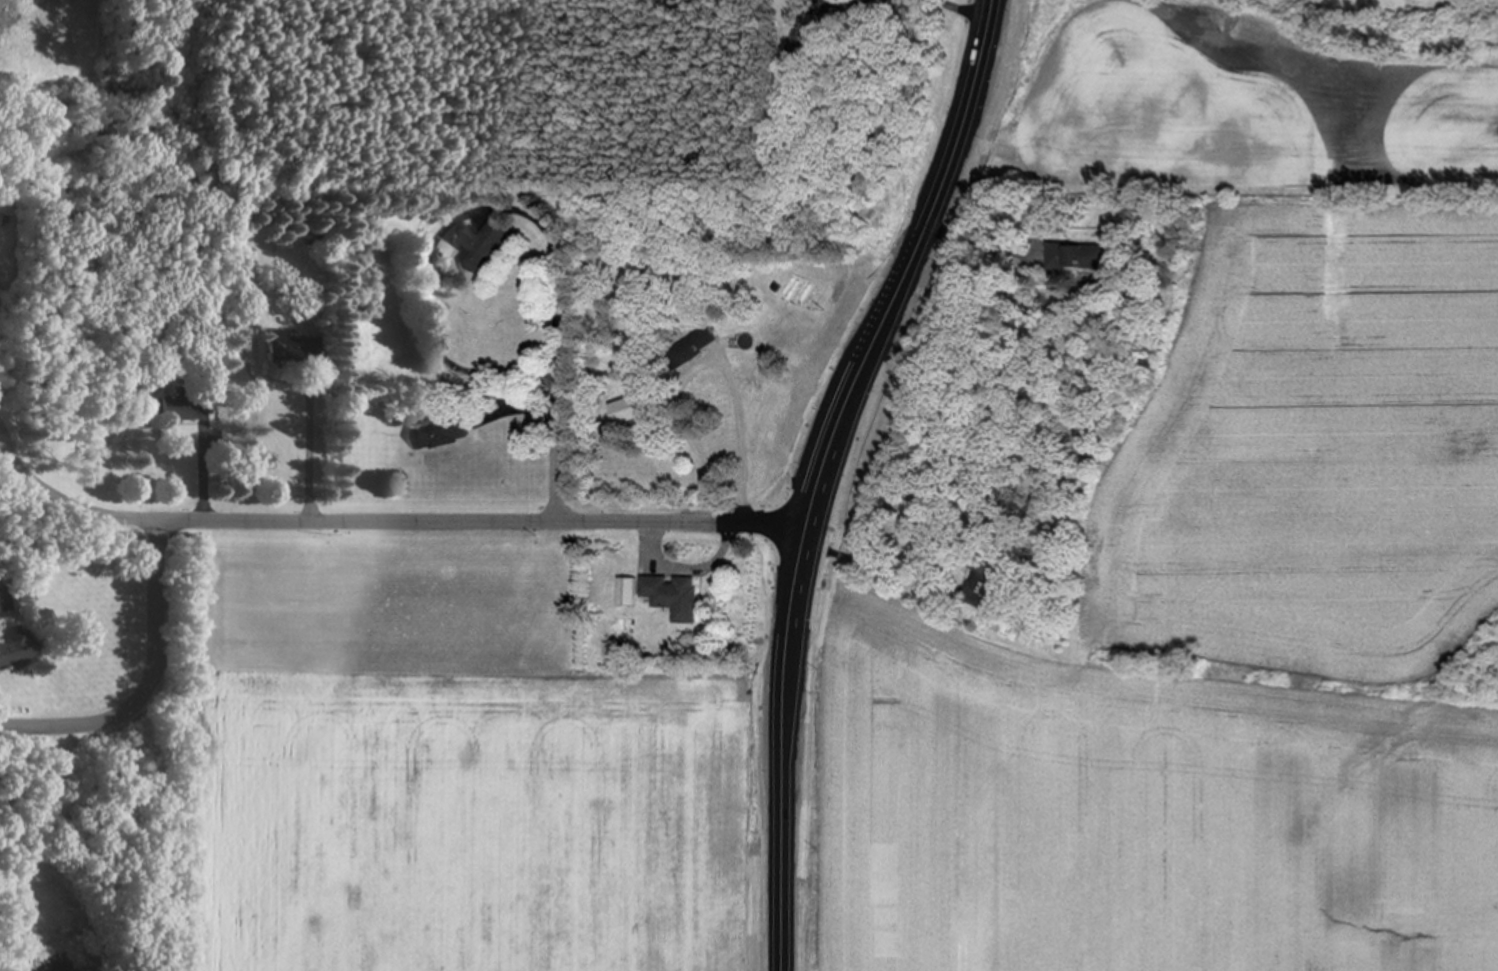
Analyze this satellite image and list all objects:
building: (479, 246)
road: (976, 246)
building: (1032, 254)
building: (1077, 256)
building: (283, 346)
building: (692, 347)
road: (710, 360)
road: (561, 389)
building: (173, 407)
building: (439, 432)
road: (312, 451)
road: (821, 472)
road: (72, 502)
road: (483, 519)
building: (628, 591)
building: (674, 595)
building: (10, 646)
road: (150, 679)

